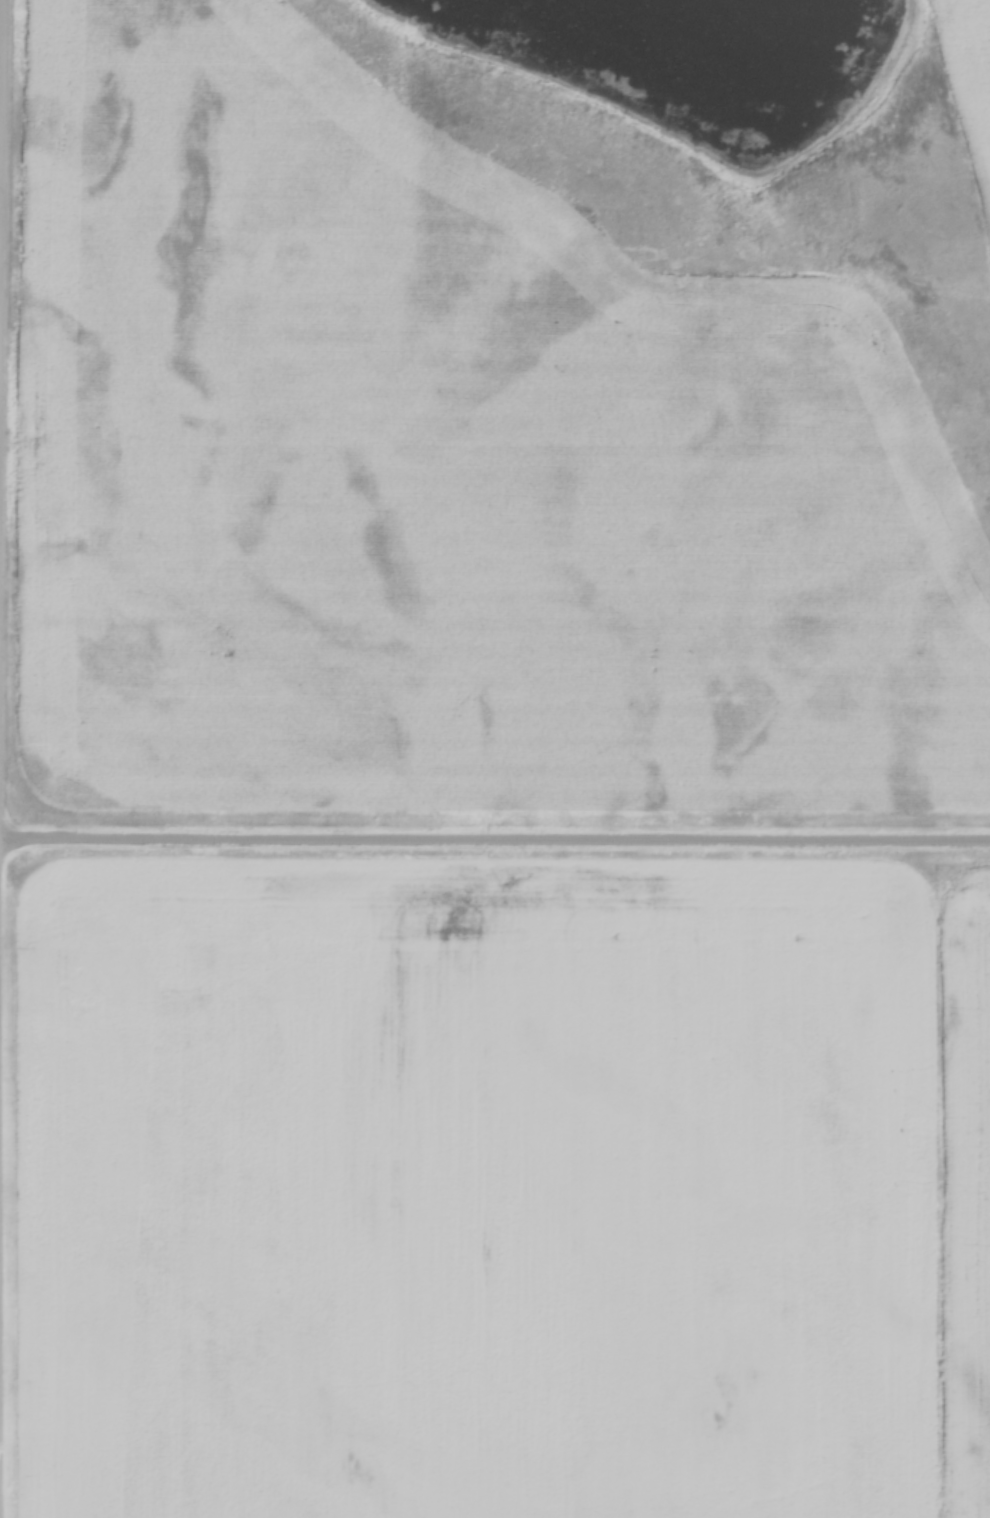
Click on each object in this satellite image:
road: (495, 836)

